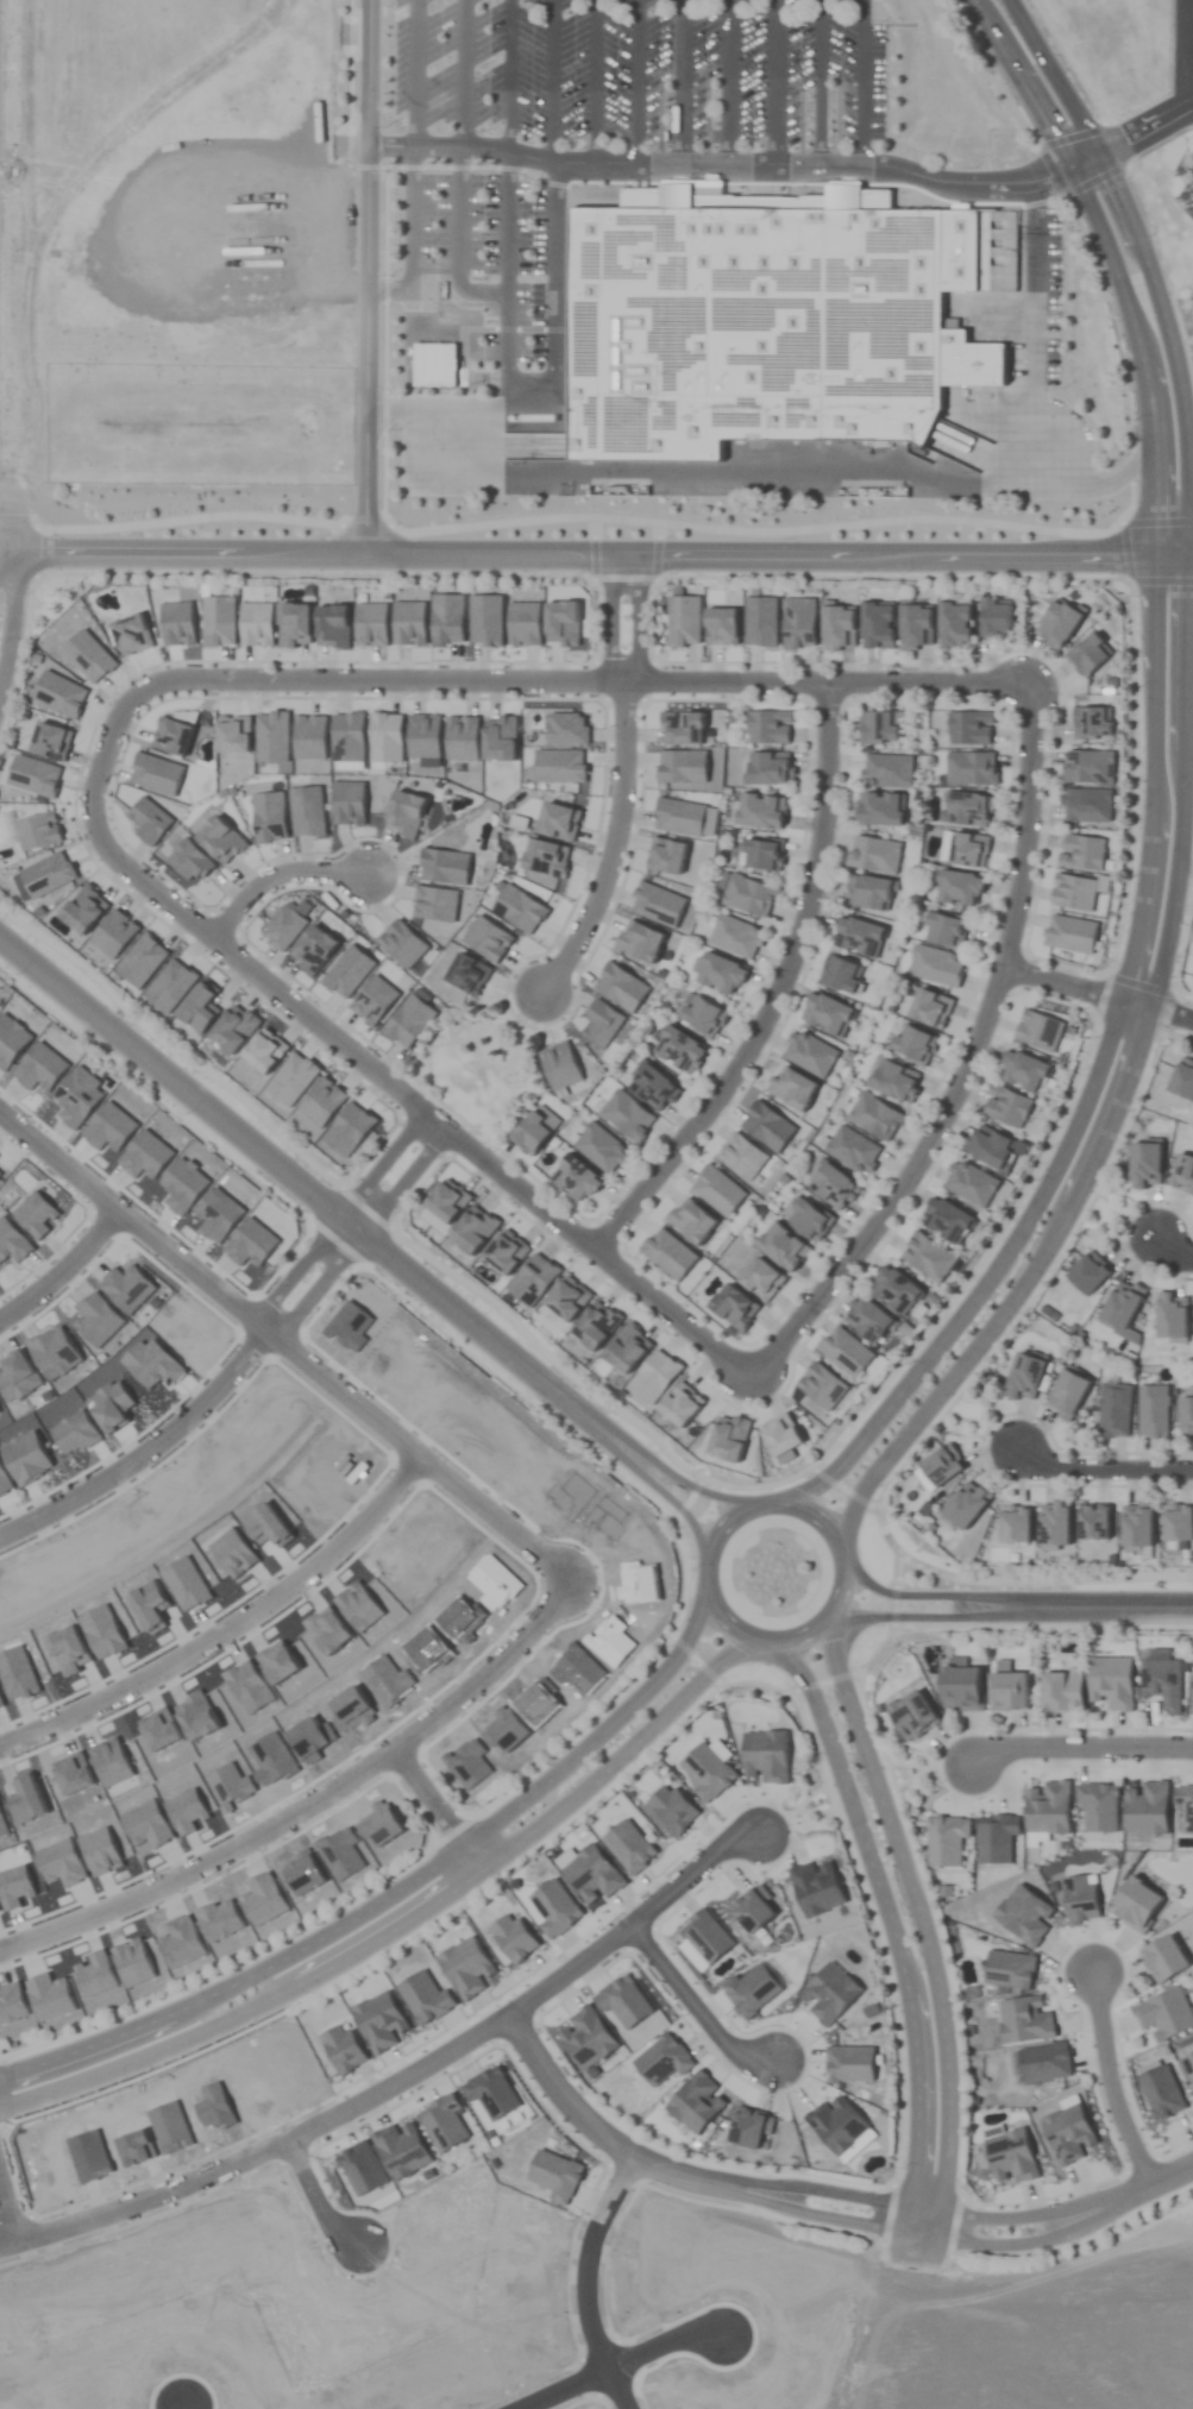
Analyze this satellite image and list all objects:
road: (511, 73)
road: (553, 80)
road: (595, 80)
road: (639, 80)
road: (683, 81)
road: (733, 81)
road: (777, 81)
road: (818, 81)
road: (866, 81)
parking lot: (696, 88)
road: (1189, 107)
road: (1141, 131)
traffic signals: (1088, 159)
road: (732, 162)
road: (463, 187)
road: (1037, 233)
road: (508, 260)
road: (368, 277)
building: (398, 283)
building: (772, 315)
road: (413, 365)
road: (1036, 385)
road: (503, 410)
road: (439, 427)
road: (1186, 470)
road: (743, 473)
road: (1179, 483)
road: (1084, 484)
road: (17, 536)
road: (8, 555)
road: (605, 556)
building: (996, 618)
road: (611, 621)
road: (641, 621)
road: (14, 623)
building: (799, 624)
building: (1057, 624)
building: (877, 625)
building: (954, 625)
building: (837, 627)
building: (915, 627)
building: (1090, 655)
road: (594, 683)
building: (1093, 723)
building: (768, 728)
building: (879, 728)
building: (969, 729)
building: (1088, 767)
building: (770, 769)
building: (972, 769)
building: (887, 772)
building: (1086, 805)
building: (880, 810)
building: (968, 810)
building: (761, 811)
road: (613, 848)
building: (1082, 853)
building: (761, 854)
building: (874, 855)
road: (275, 875)
building: (959, 888)
building: (869, 893)
building: (749, 895)
building: (944, 929)
building: (735, 936)
building: (858, 937)
building: (936, 967)
building: (720, 974)
building: (840, 975)
road: (774, 989)
road: (1098, 995)
building: (702, 1014)
building: (827, 1015)
building: (913, 1045)
building: (679, 1050)
building: (810, 1055)
road: (354, 1056)
road: (967, 1063)
building: (1022, 1070)
building: (1182, 1080)
building: (896, 1081)
building: (652, 1087)
building: (1006, 1106)
building: (627, 1117)
building: (875, 1118)
building: (530, 1132)
building: (603, 1143)
building: (988, 1146)
building: (853, 1150)
building: (1144, 1164)
building: (578, 1172)
building: (1182, 1174)
building: (971, 1183)
building: (833, 1187)
road: (304, 1195)
crop: (596, 1204)
road: (335, 1219)
building: (944, 1219)
road: (121, 1224)
road: (359, 1239)
building: (783, 1247)
road: (1174, 1248)
building: (927, 1257)
road: (61, 1272)
building: (1087, 1272)
road: (986, 1279)
building: (893, 1289)
road: (1017, 1290)
building: (1120, 1303)
building: (1172, 1316)
building: (867, 1319)
building: (1024, 1375)
building: (1067, 1394)
building: (1114, 1410)
building: (1153, 1411)
building: (1186, 1415)
road: (609, 1446)
road: (403, 1452)
road: (143, 1453)
road: (1101, 1470)
building: (966, 1504)
building: (1178, 1523)
building: (1054, 1526)
building: (1137, 1526)
road: (707, 1541)
road: (935, 1602)
road: (1116, 1612)
road: (931, 1622)
road: (226, 1631)
building: (1111, 1682)
building: (1162, 1682)
building: (960, 1688)
building: (1007, 1691)
building: (1061, 1691)
building: (1192, 1706)
building: (911, 1715)
road: (1079, 1748)
road: (312, 1803)
road: (433, 1814)
road: (395, 1891)
building: (1136, 1904)
road: (889, 1916)
road: (921, 1918)
road: (404, 1923)
building: (1163, 1958)
road: (534, 1998)
road: (696, 2006)
building: (1164, 2014)
road: (1109, 2082)
road: (821, 2203)
road: (144, 2204)
road: (310, 2204)
road: (6, 2225)
road: (580, 2284)
road: (622, 2365)

